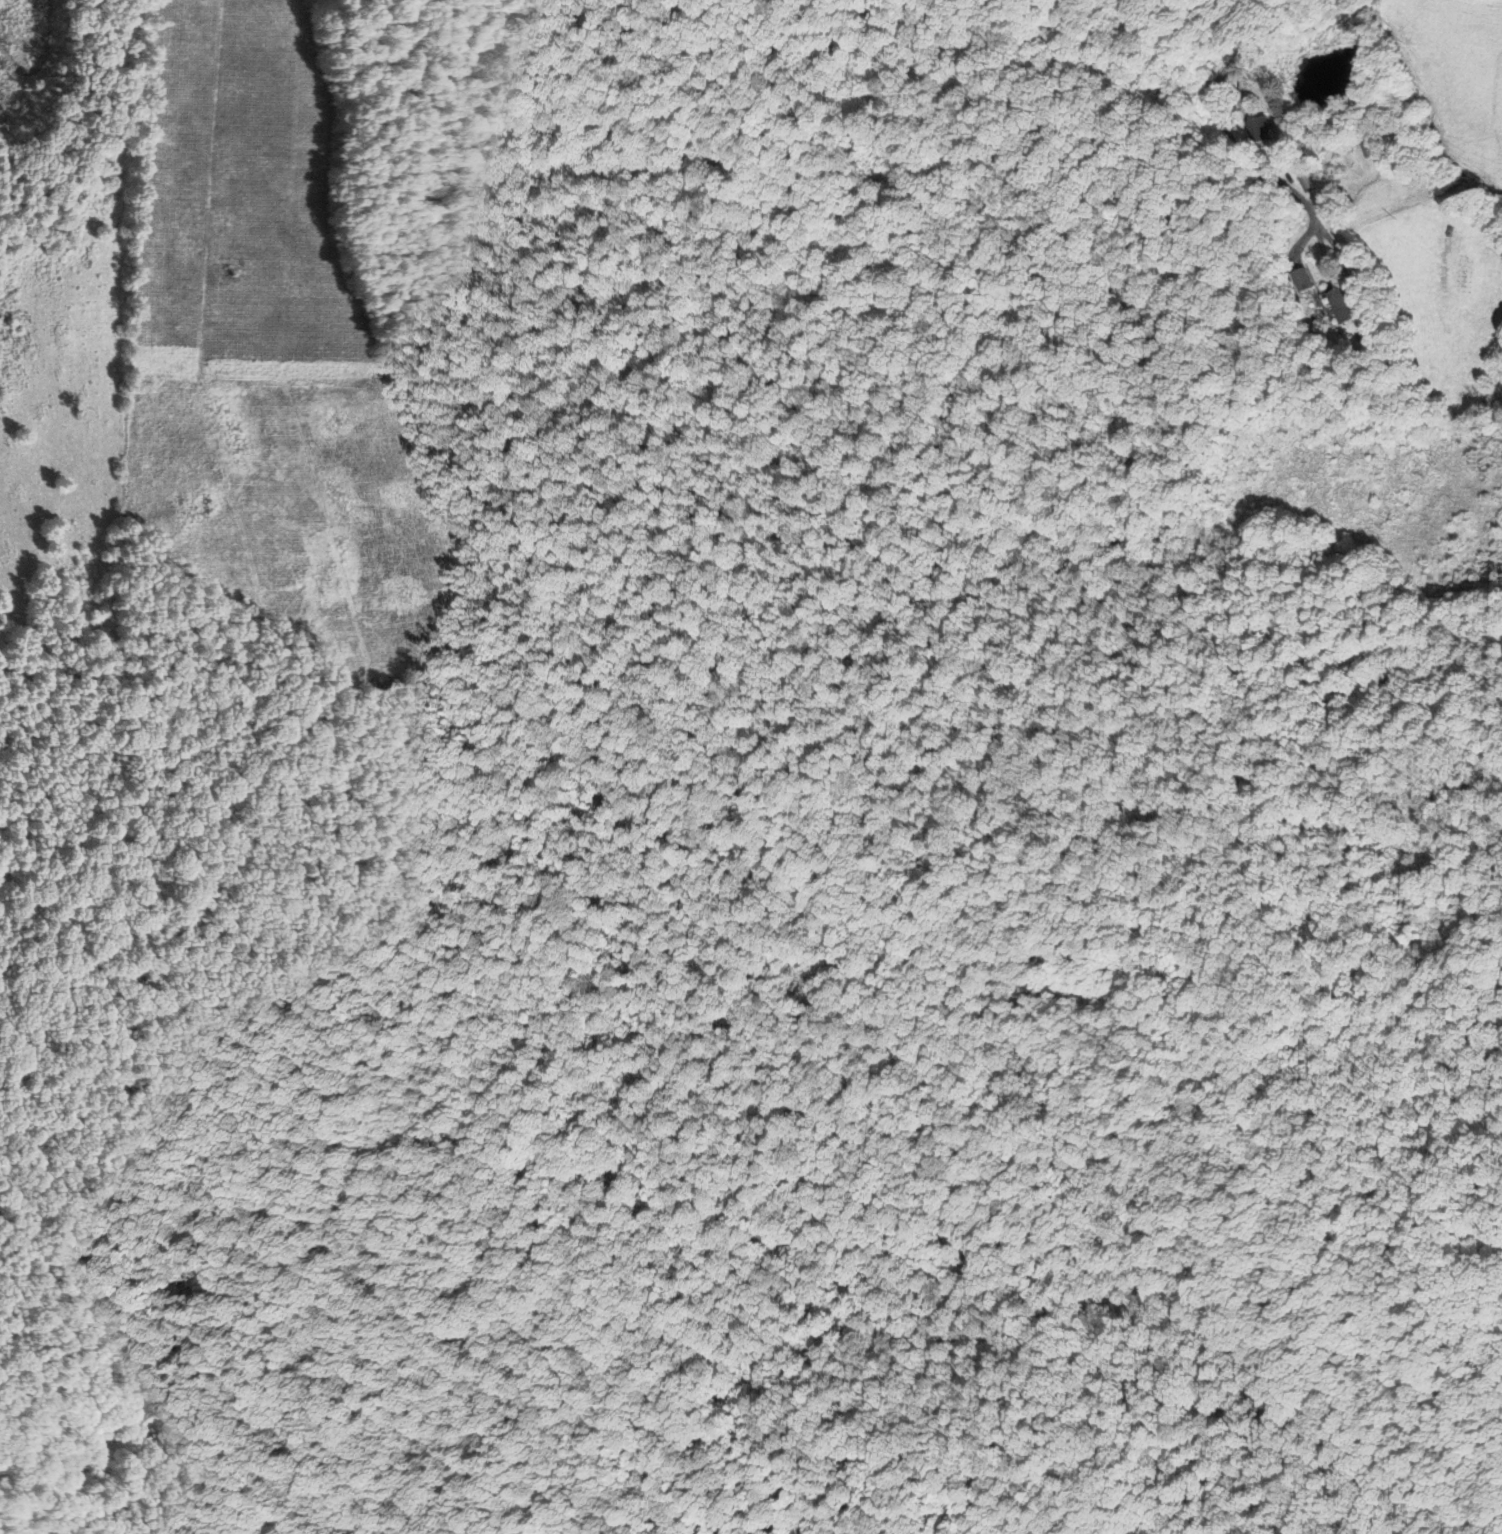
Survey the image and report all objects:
building: (1250, 130)
road: (1232, 140)
building: (1359, 151)
building: (1459, 274)
building: (1337, 305)

